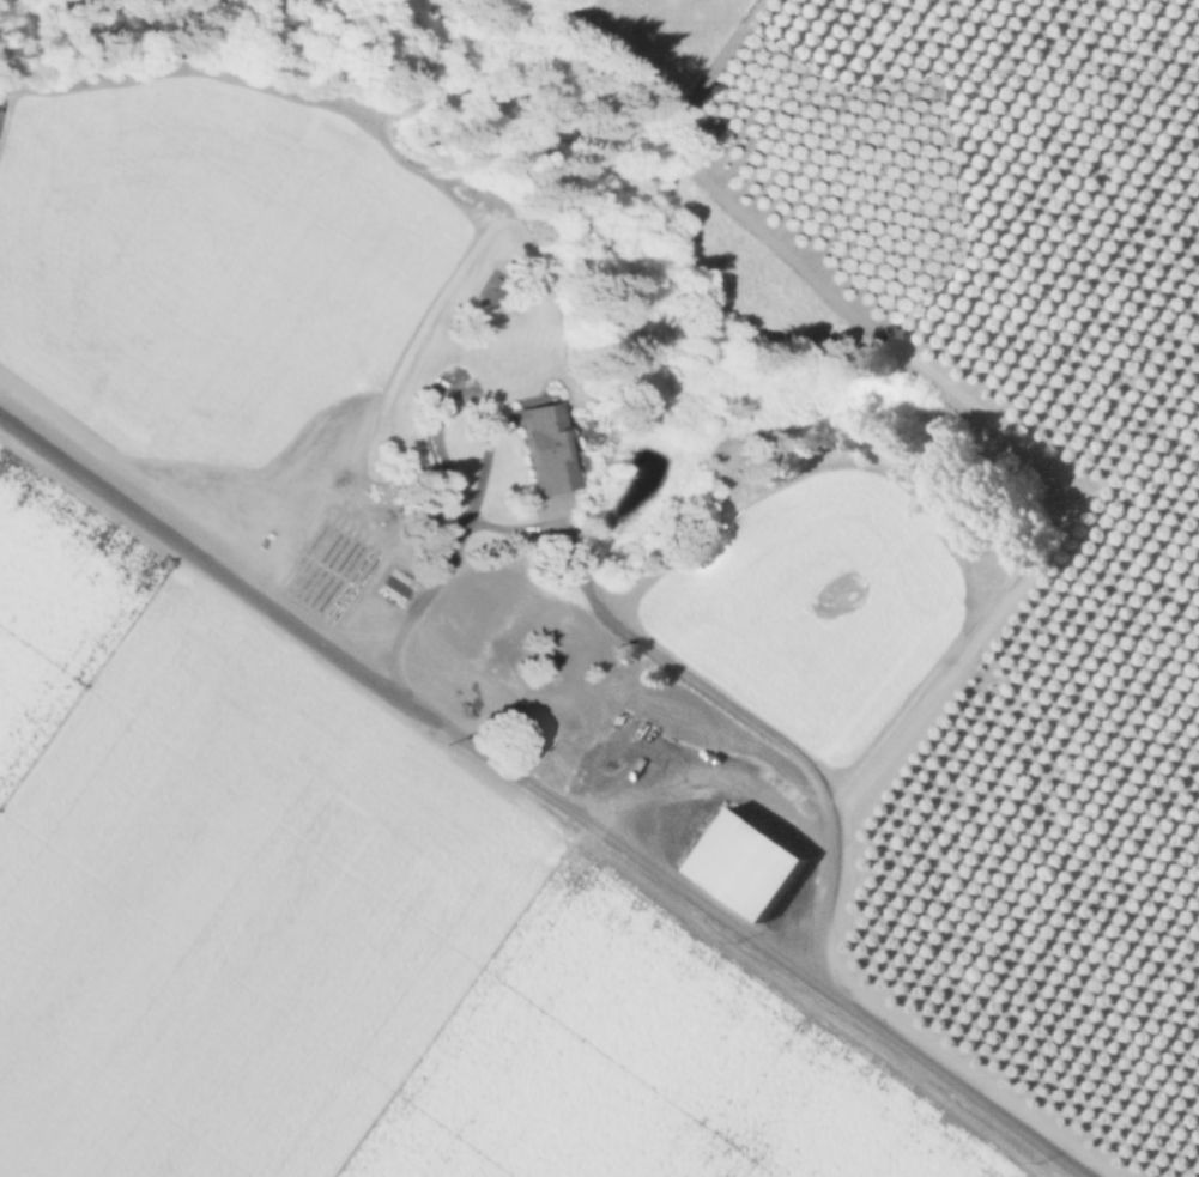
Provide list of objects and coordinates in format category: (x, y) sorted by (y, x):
building: (545, 445)
road: (194, 534)
road: (591, 599)
crop: (329, 722)
building: (747, 863)
road: (667, 879)

